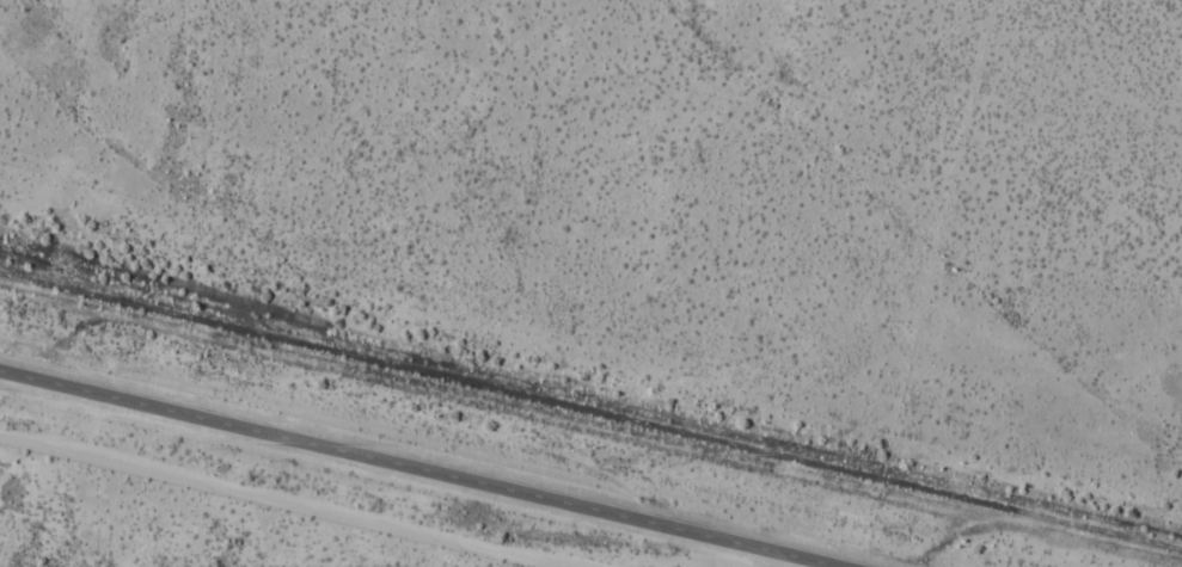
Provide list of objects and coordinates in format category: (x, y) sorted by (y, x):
road: (415, 468)

